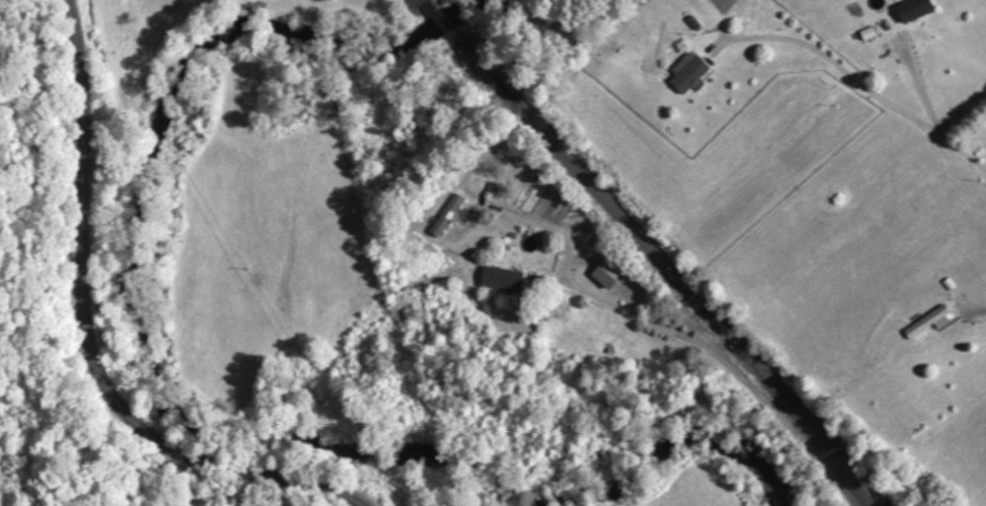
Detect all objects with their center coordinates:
railway: (425, 1)
building: (914, 10)
railway: (444, 24)
building: (869, 34)
building: (689, 72)
building: (520, 159)
building: (495, 190)
building: (449, 217)
railway: (672, 271)
building: (608, 273)
building: (502, 280)
building: (930, 322)
road: (92, 338)

